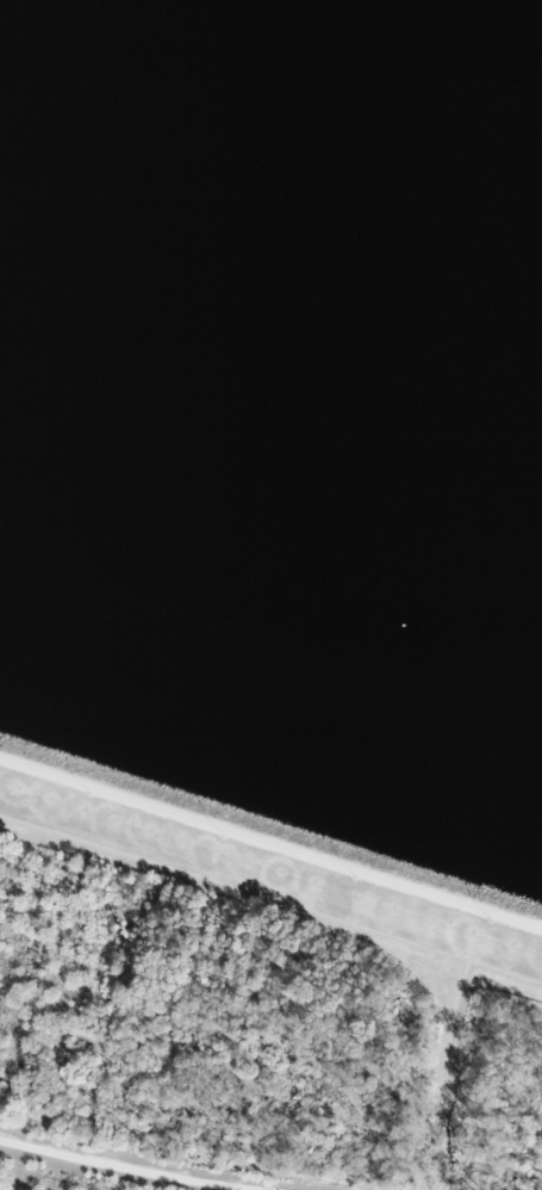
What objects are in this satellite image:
dam: (270, 844)
road: (270, 844)
road: (147, 1159)

